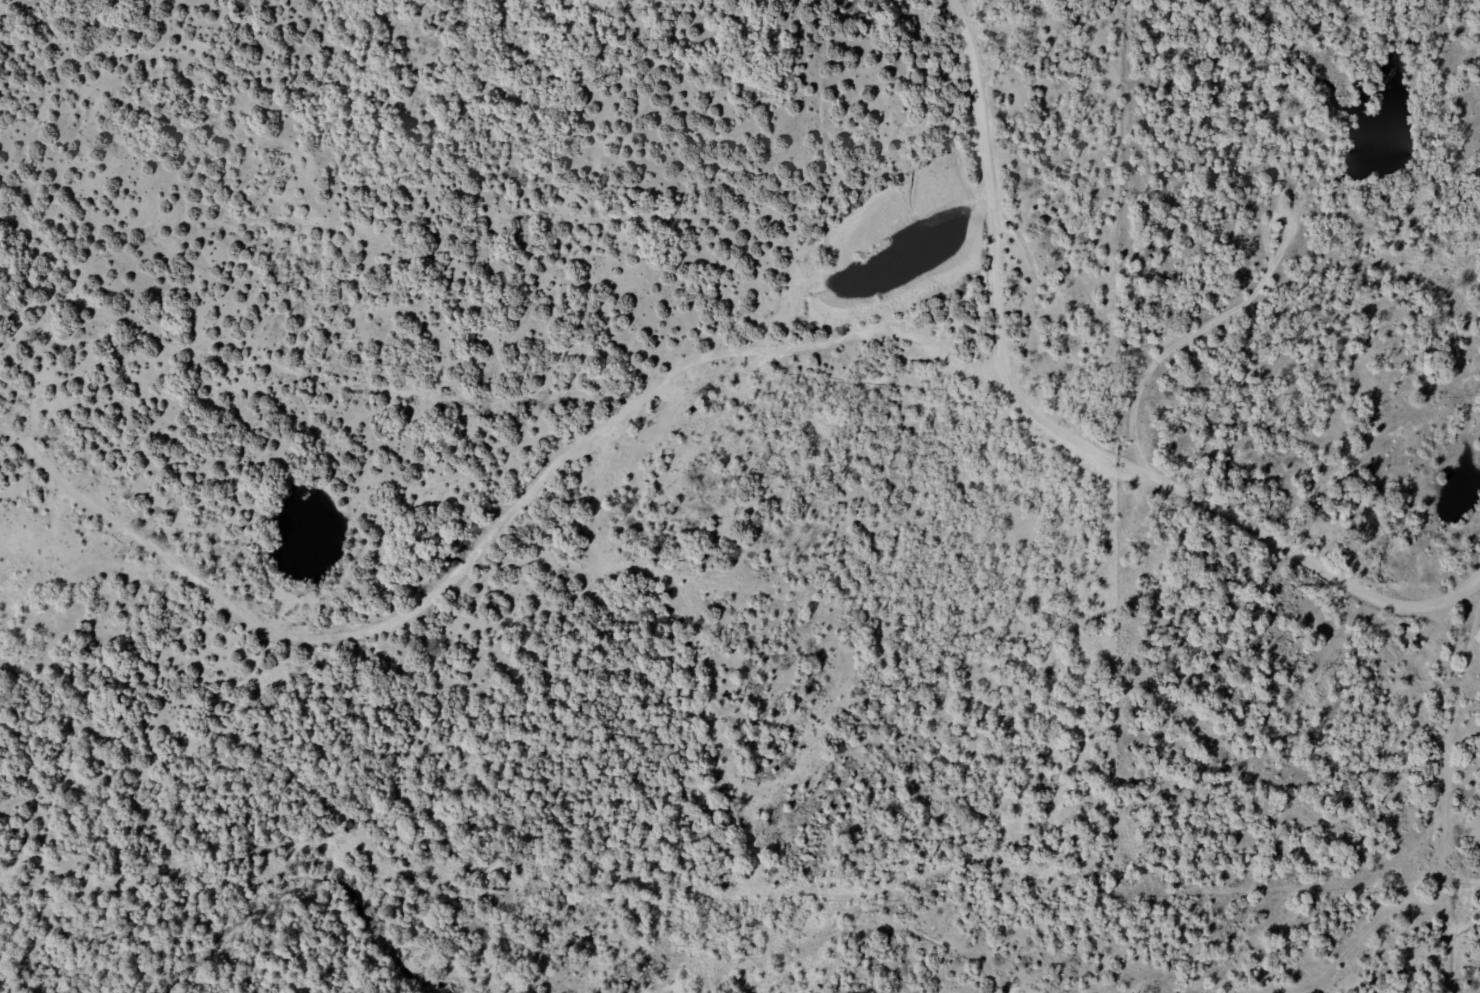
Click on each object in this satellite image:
road: (1067, 429)

